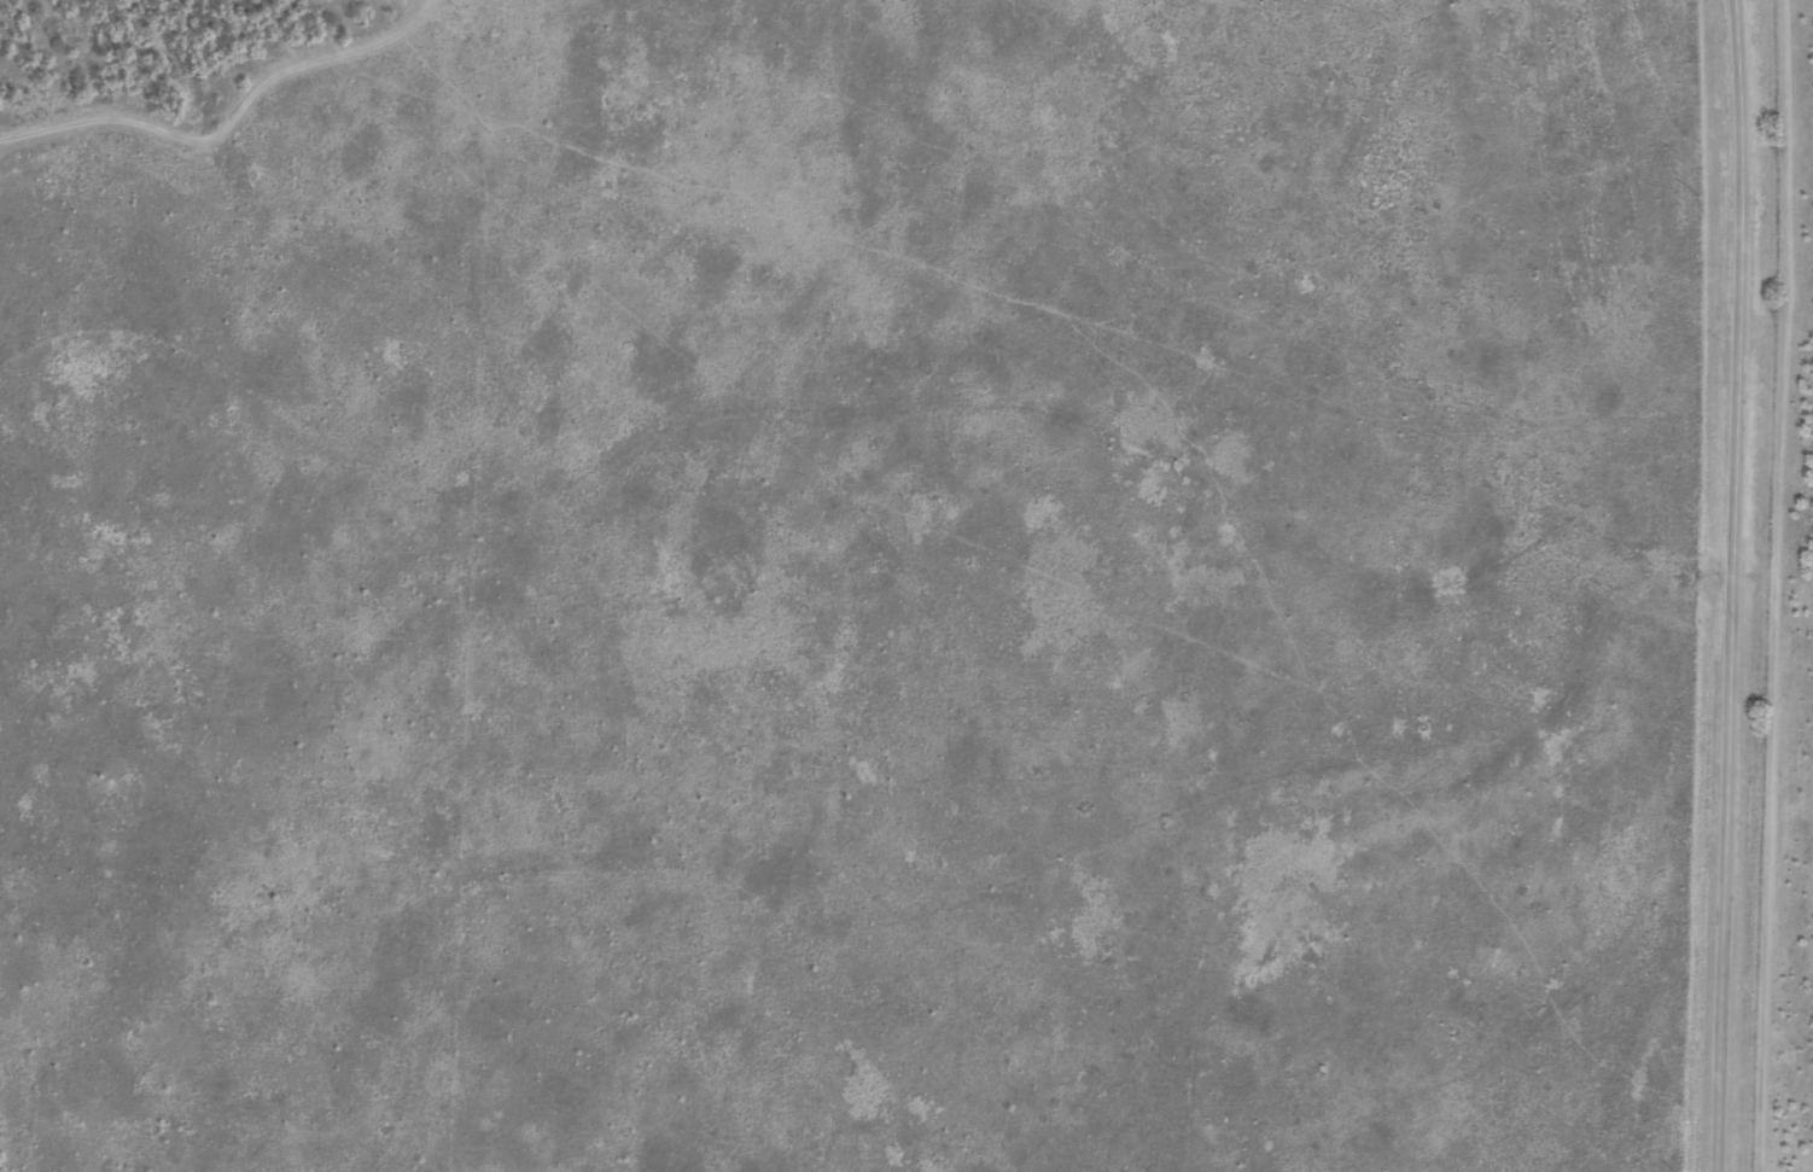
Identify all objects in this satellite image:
road: (1733, 585)

